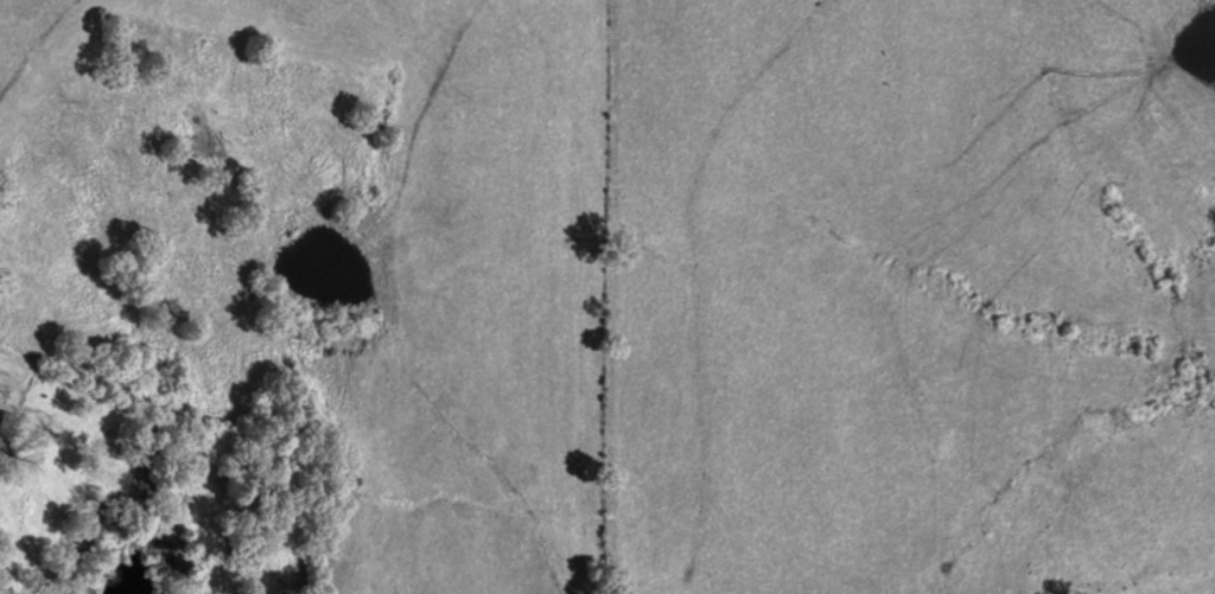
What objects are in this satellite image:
road: (597, 320)
road: (1065, 539)

